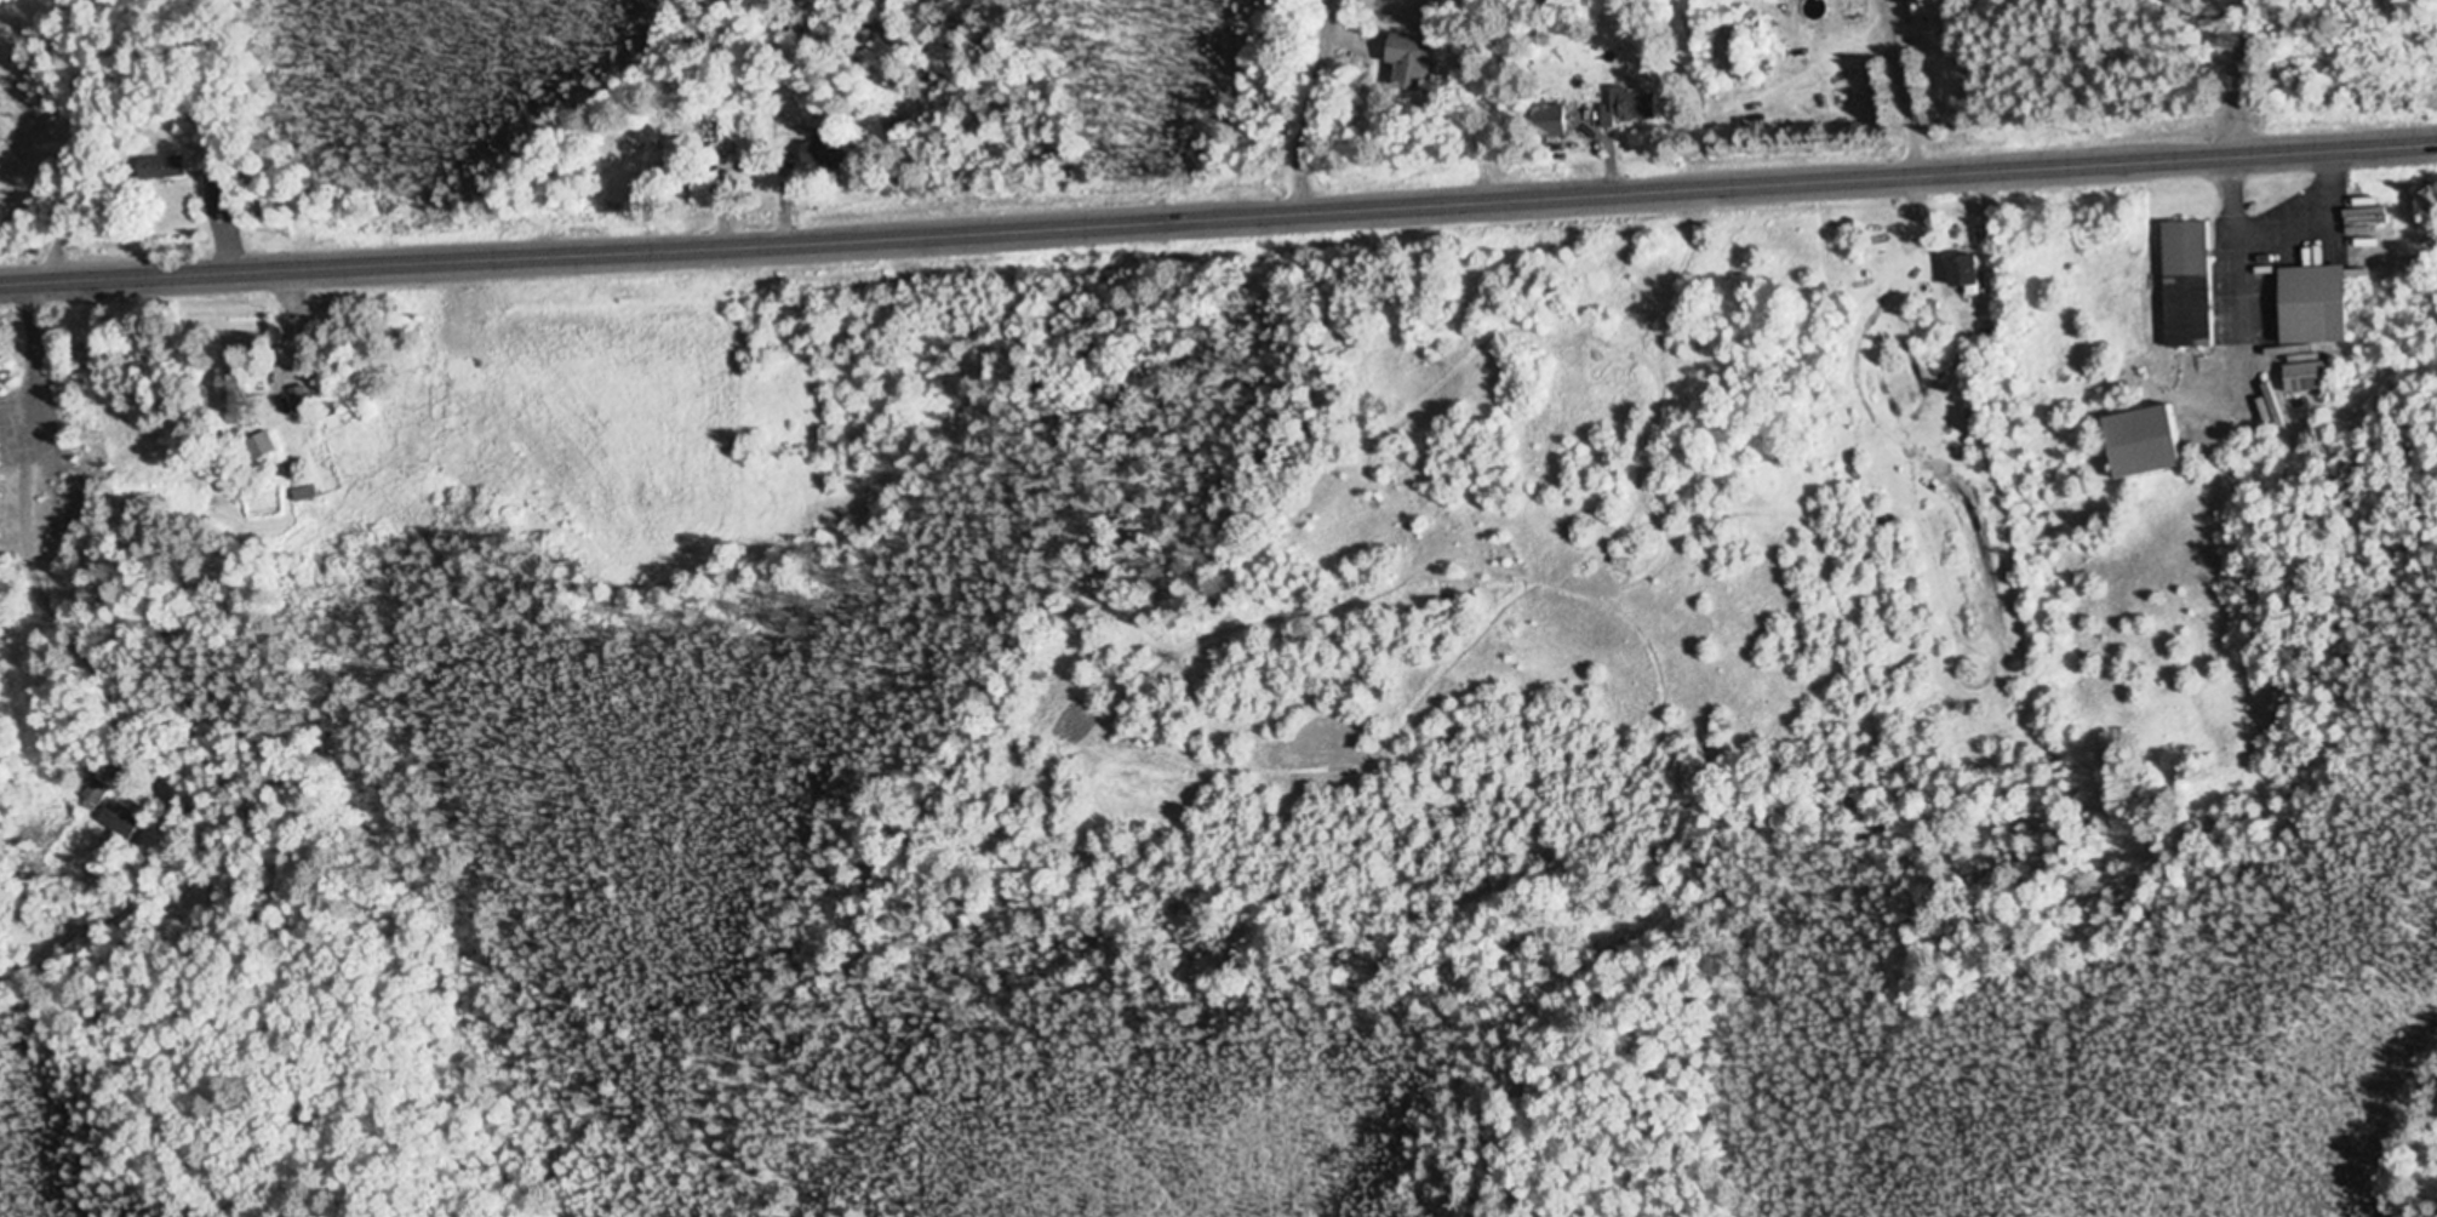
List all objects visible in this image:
building: (1432, 6)
building: (1727, 52)
building: (1405, 63)
road: (2244, 79)
building: (1626, 109)
building: (1544, 124)
building: (715, 142)
building: (816, 155)
building: (671, 159)
building: (162, 170)
road: (1218, 218)
building: (1957, 274)
building: (2183, 286)
building: (2307, 308)
building: (2306, 379)
building: (229, 401)
building: (296, 401)
building: (2143, 444)
building: (256, 447)
building: (95, 793)
building: (121, 821)
road: (182, 1108)

